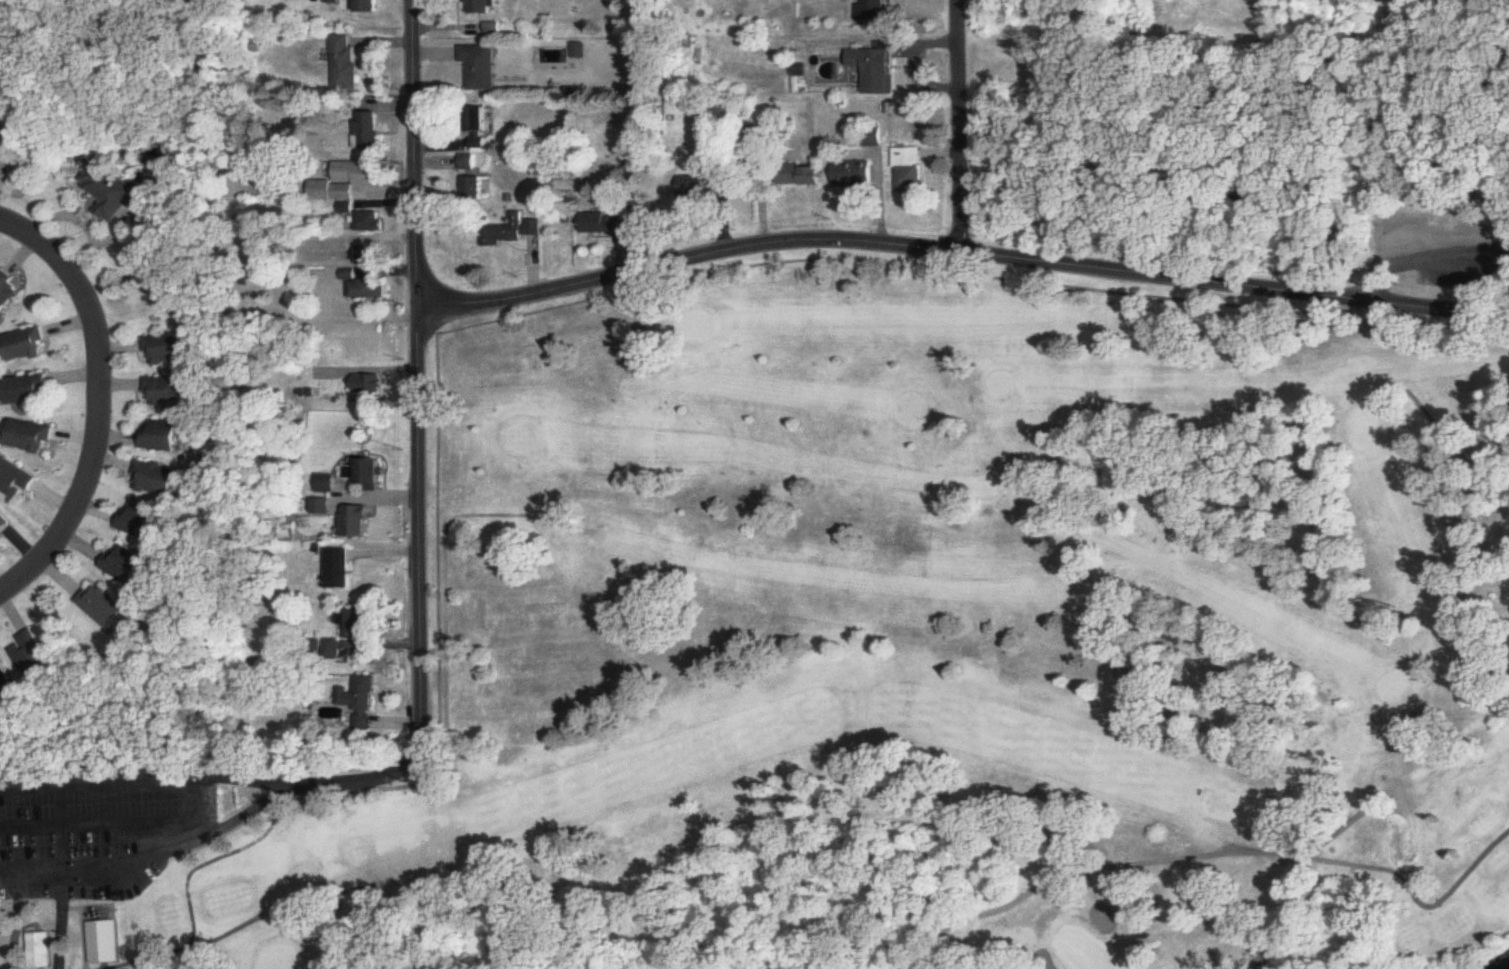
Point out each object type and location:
building: (333, 2)
building: (369, 7)
building: (482, 7)
building: (874, 10)
building: (495, 28)
building: (344, 63)
building: (877, 66)
building: (483, 67)
road: (1362, 107)
road: (955, 122)
building: (481, 127)
building: (372, 131)
building: (1, 135)
building: (874, 137)
park: (1331, 142)
building: (909, 169)
building: (360, 173)
building: (799, 174)
building: (856, 174)
building: (700, 186)
building: (474, 187)
building: (112, 190)
building: (373, 222)
building: (603, 223)
building: (509, 232)
road: (960, 245)
parking lot: (1454, 251)
building: (370, 256)
road: (1427, 256)
building: (8, 290)
building: (367, 290)
building: (25, 347)
building: (170, 349)
road: (417, 374)
building: (369, 385)
building: (29, 390)
building: (168, 392)
road: (100, 405)
building: (165, 436)
building: (30, 437)
building: (373, 475)
building: (17, 479)
building: (161, 479)
building: (329, 484)
building: (323, 507)
building: (144, 521)
building: (358, 522)
building: (4, 523)
building: (131, 565)
building: (342, 568)
building: (105, 606)
building: (359, 624)
road: (379, 639)
park: (879, 653)
building: (30, 654)
building: (4, 681)
building: (360, 703)
road: (301, 785)
road: (98, 817)
road: (95, 864)
road: (13, 917)
building: (104, 943)
building: (41, 951)
river: (1506, 966)

